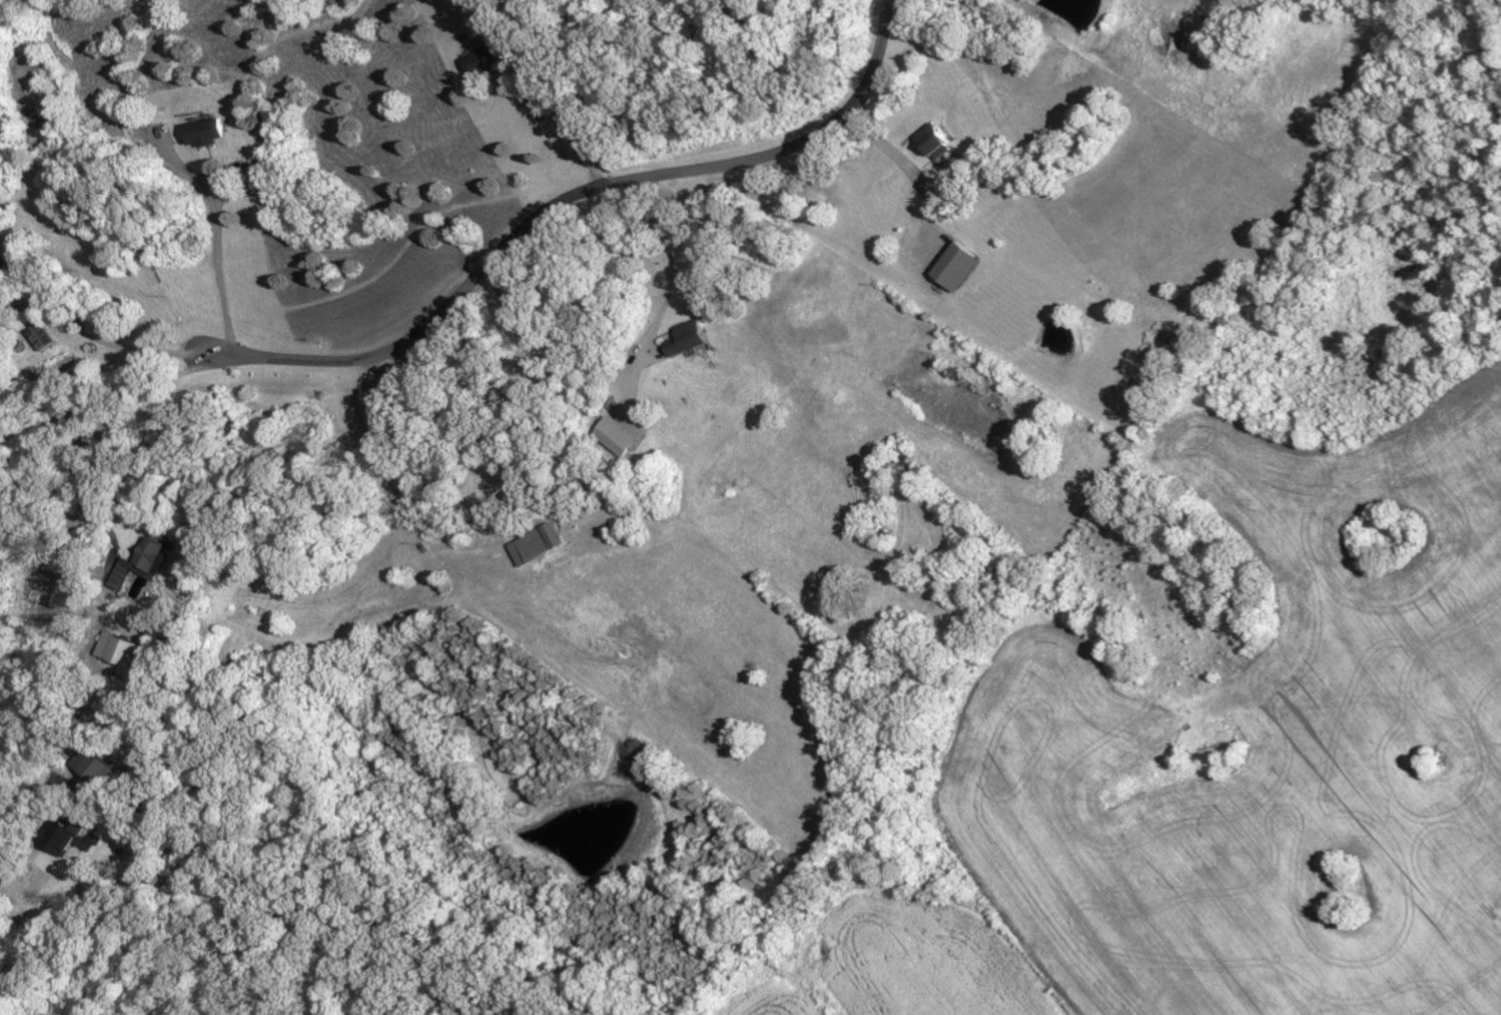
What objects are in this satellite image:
building: (484, 61)
road: (572, 112)
building: (207, 132)
building: (934, 139)
road: (912, 169)
road: (590, 192)
road: (220, 262)
road: (675, 264)
building: (958, 266)
building: (43, 334)
building: (687, 338)
road: (212, 340)
road: (109, 342)
road: (88, 424)
building: (616, 436)
building: (535, 544)
building: (144, 565)
building: (121, 651)
building: (64, 839)
road: (5, 877)

